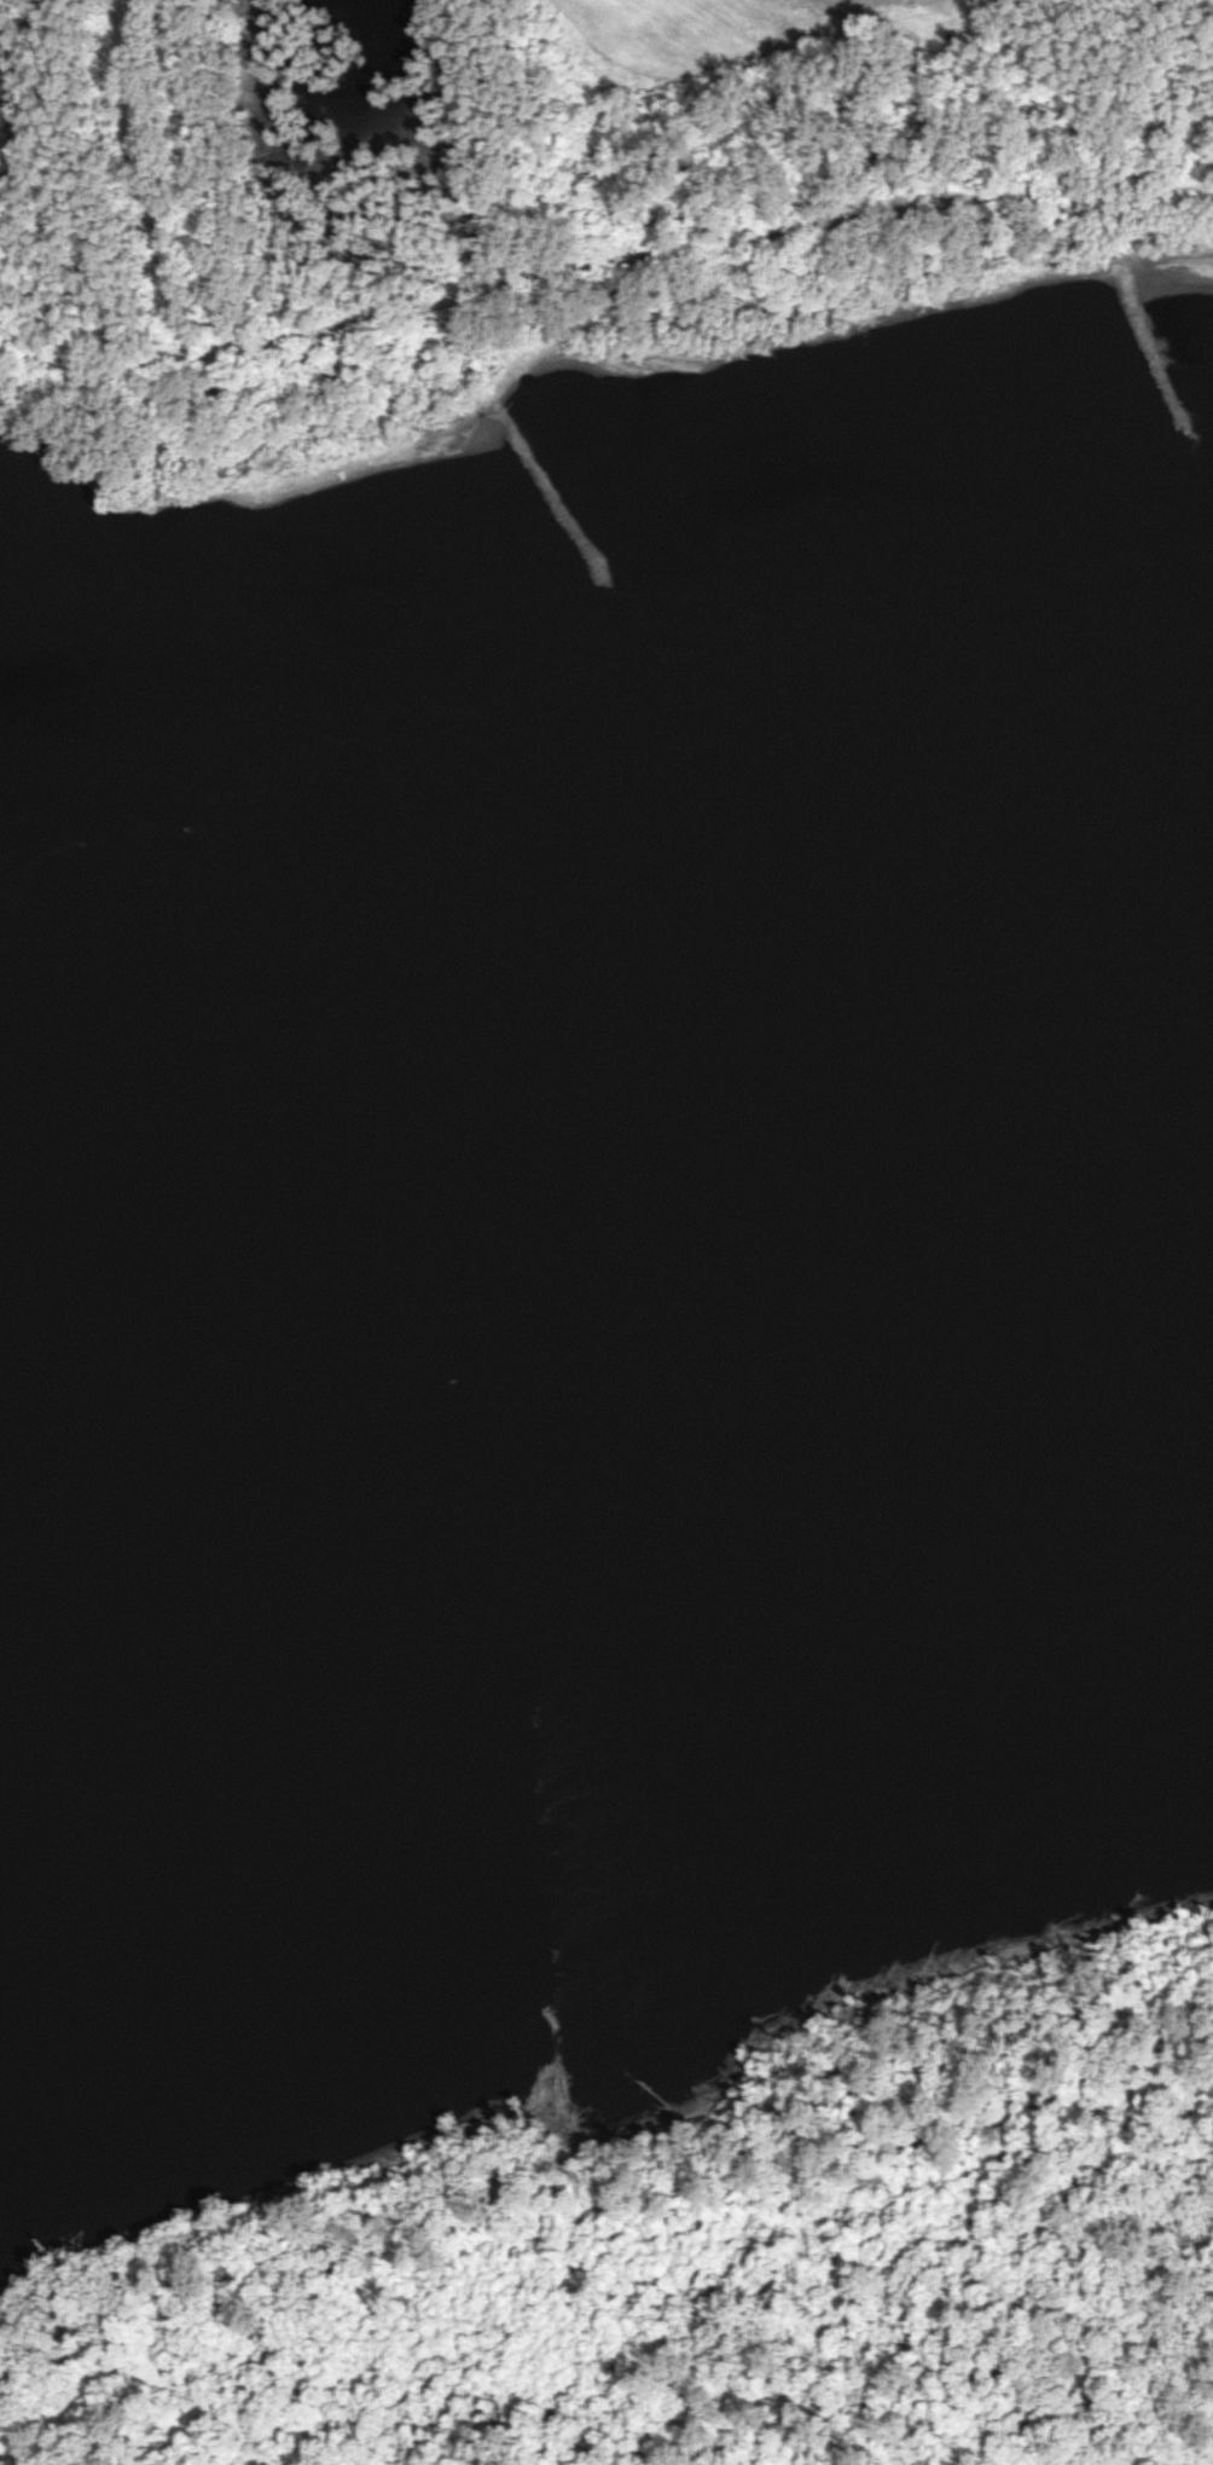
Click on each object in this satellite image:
road: (143, 180)
road: (608, 261)
river: (586, 1018)

